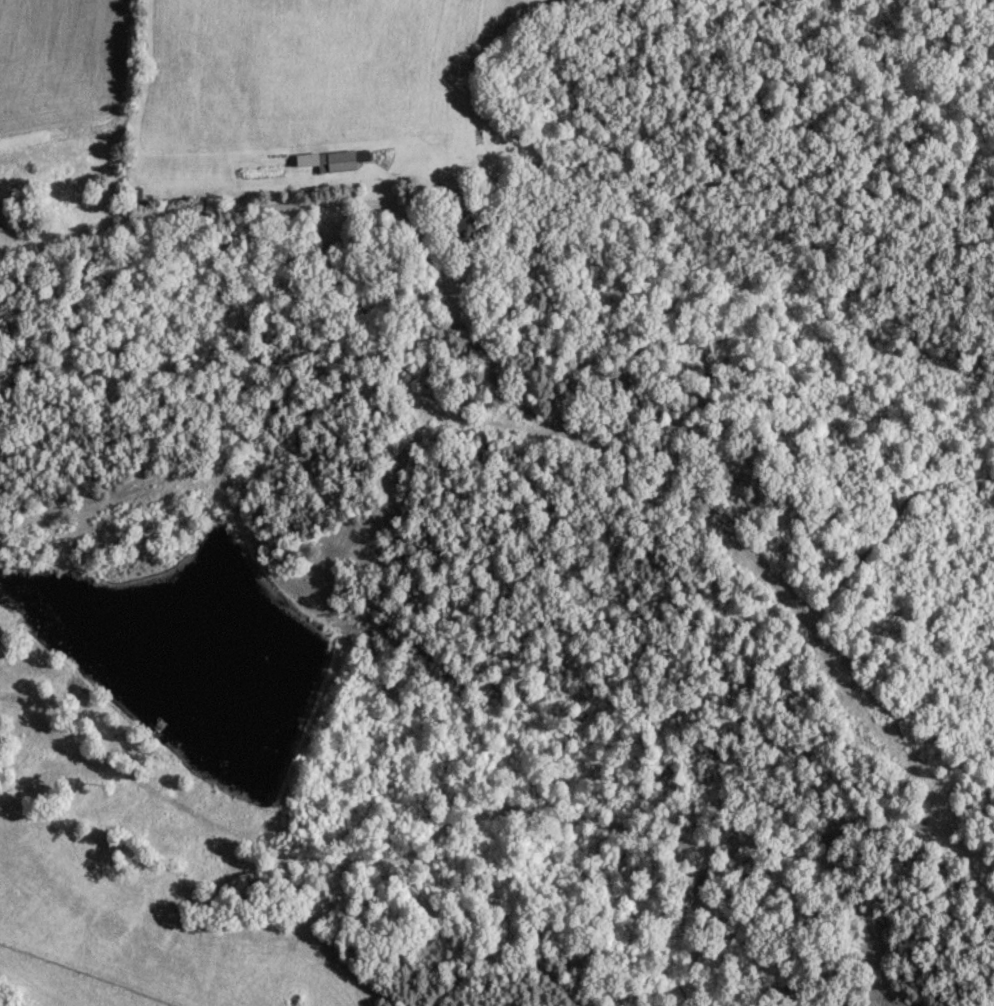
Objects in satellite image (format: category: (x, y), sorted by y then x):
building: (338, 159)
building: (133, 193)
road: (175, 218)
building: (464, 230)

